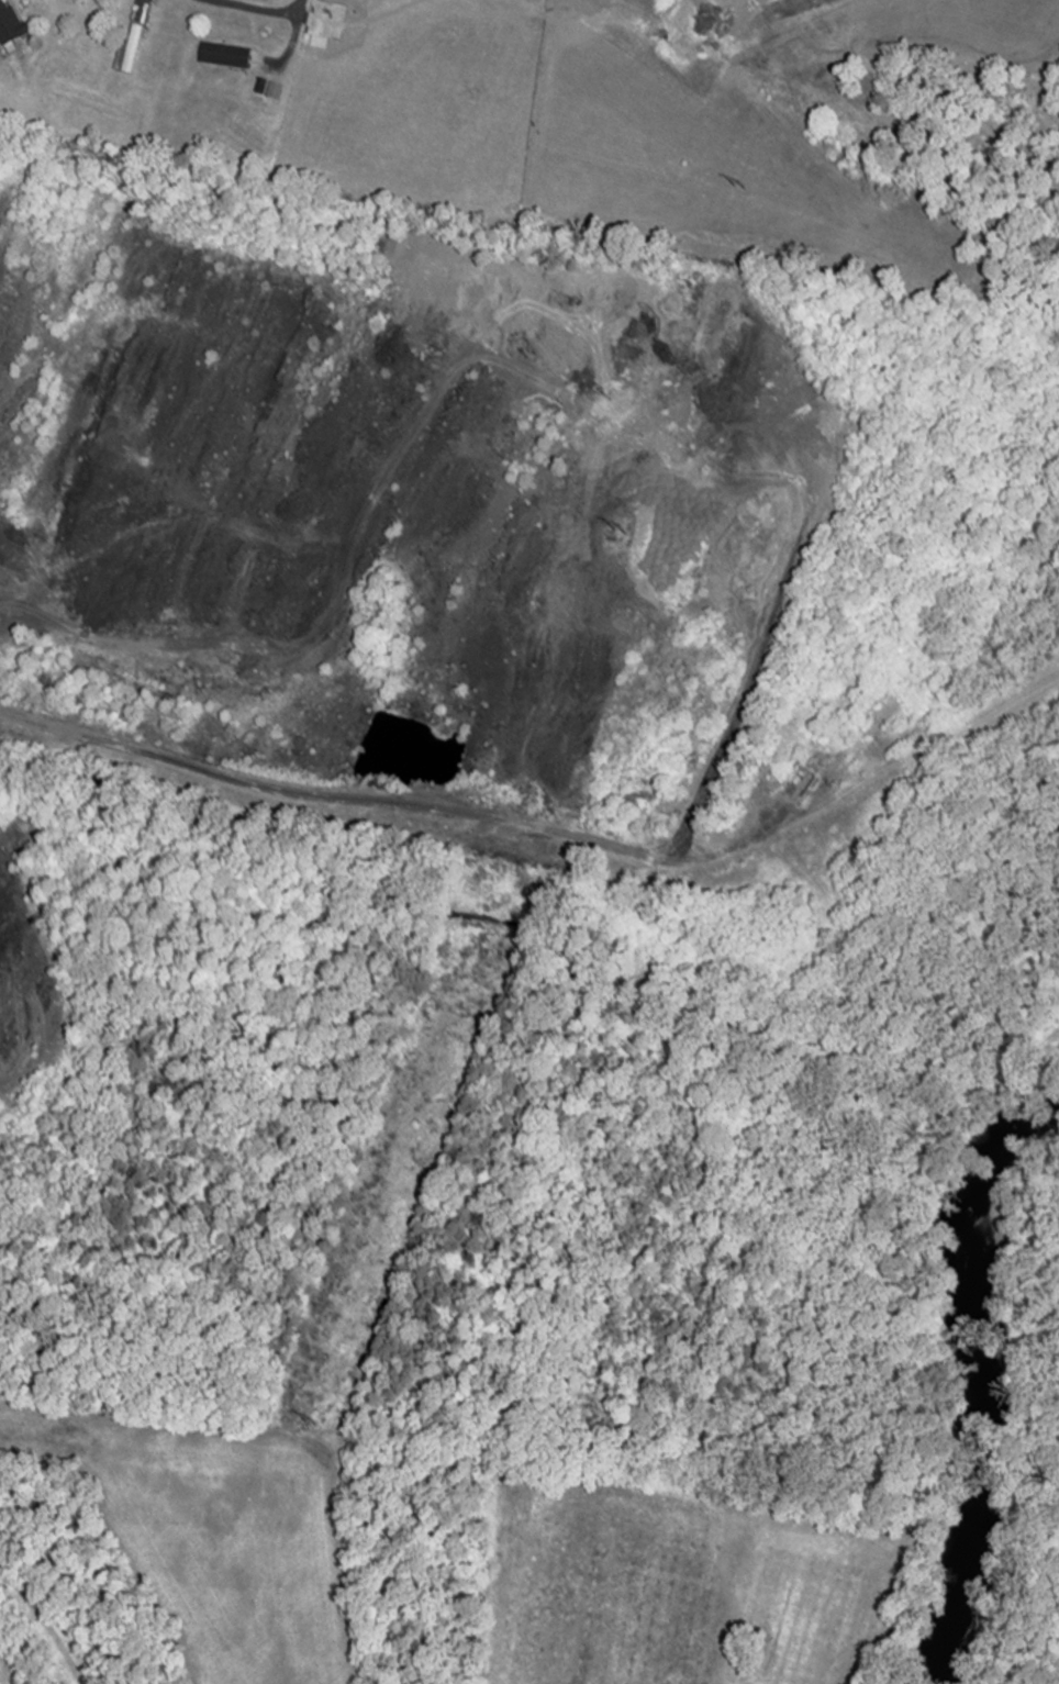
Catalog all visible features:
road: (265, 10)
building: (10, 26)
building: (138, 38)
building: (228, 57)
power tower: (614, 533)
building: (805, 783)
road: (393, 802)
river: (974, 1394)
power tower: (310, 1397)

